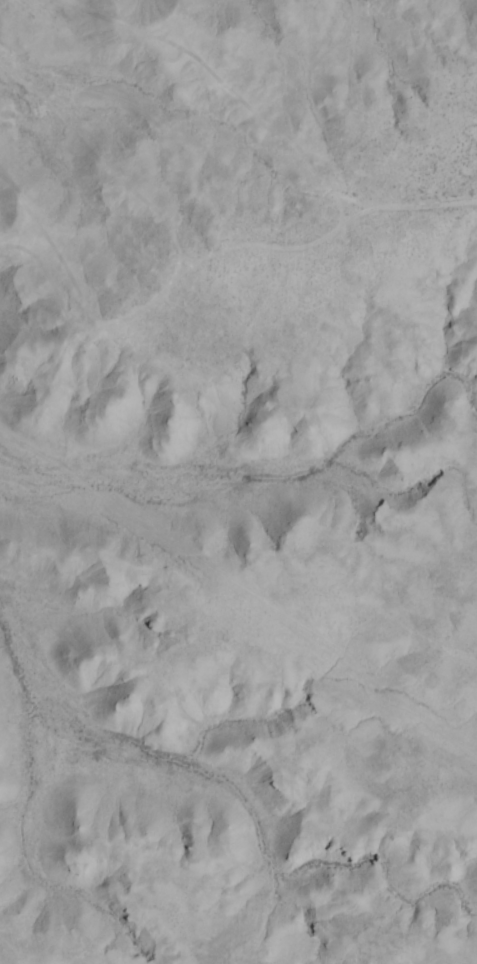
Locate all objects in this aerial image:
road: (367, 24)

